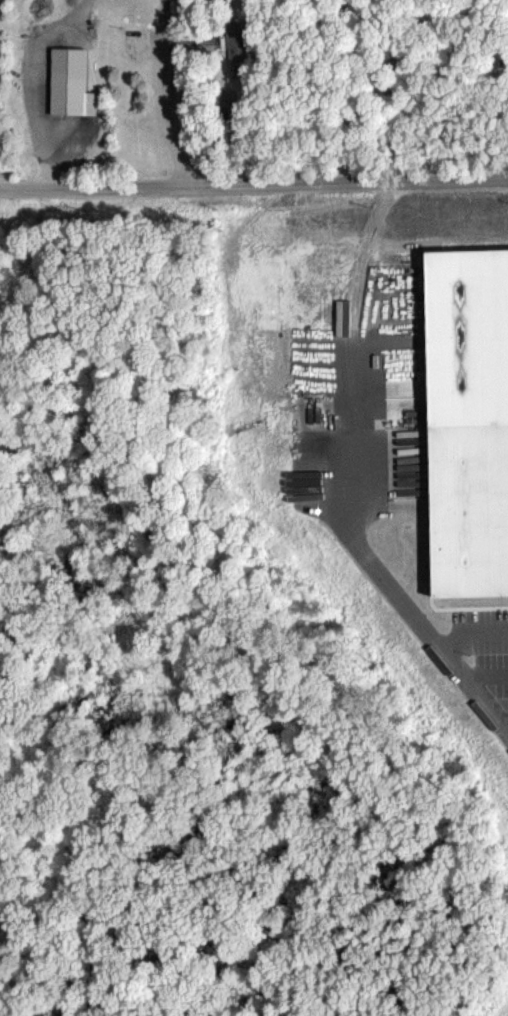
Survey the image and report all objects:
building: (251, 39)
building: (66, 82)
road: (254, 182)
building: (468, 425)
road: (370, 560)
road: (469, 632)
road: (485, 673)
road: (503, 718)

